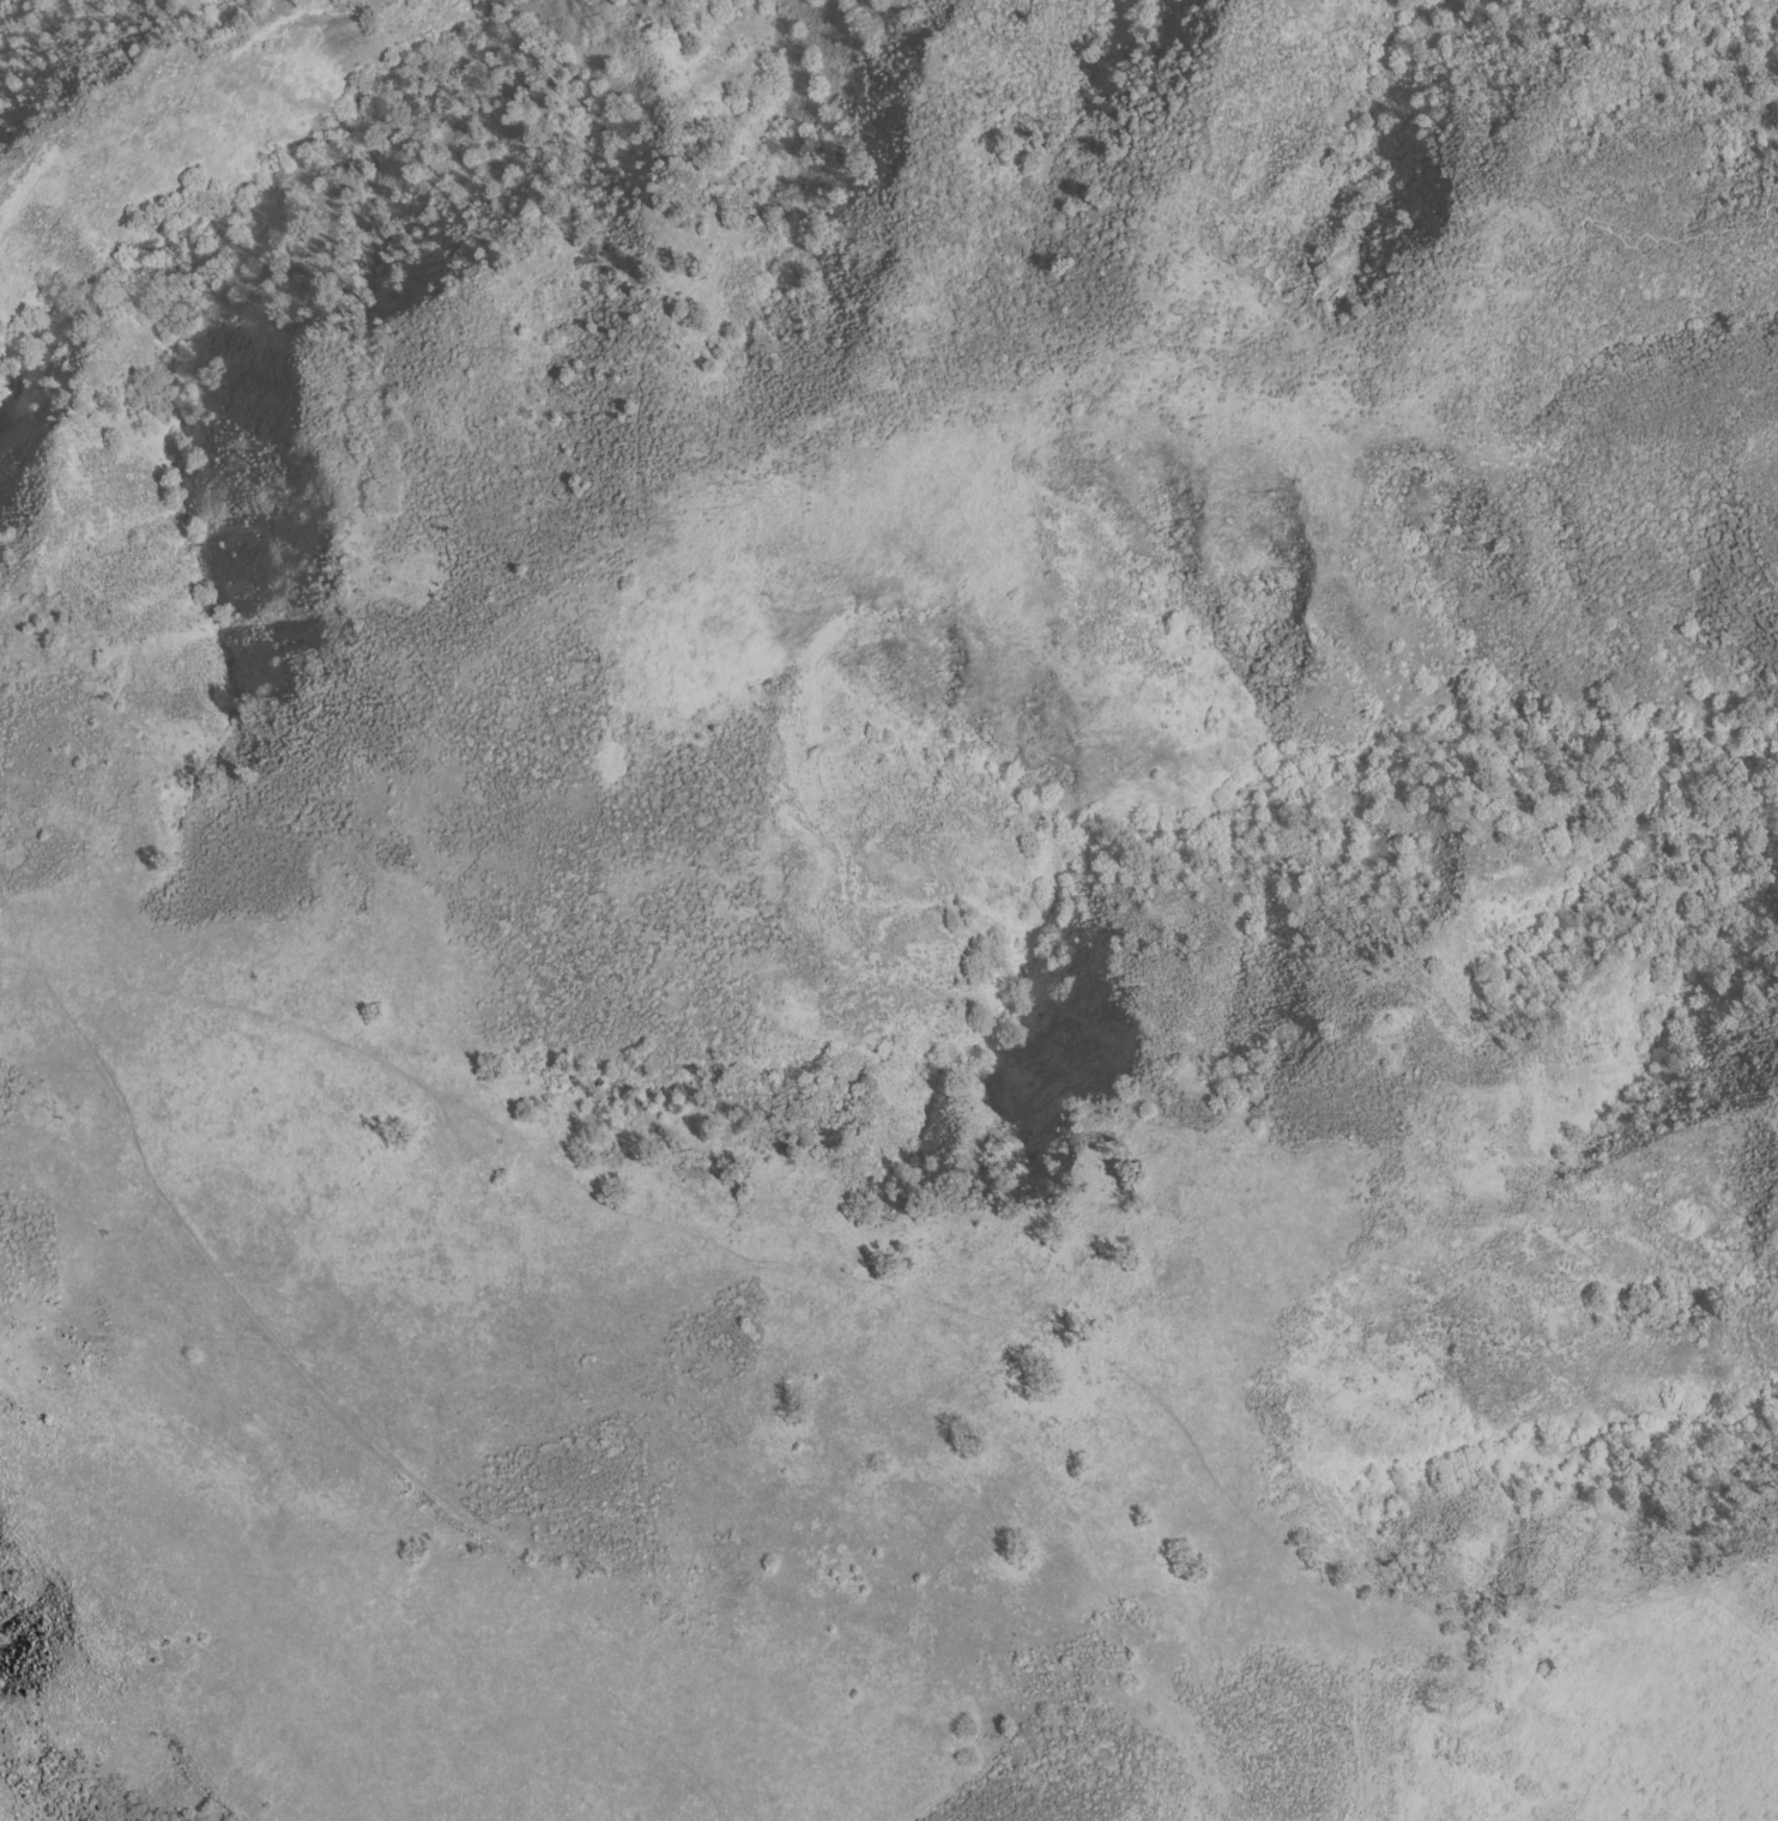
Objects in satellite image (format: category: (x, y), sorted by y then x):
road: (806, 1268)
road: (309, 1377)

